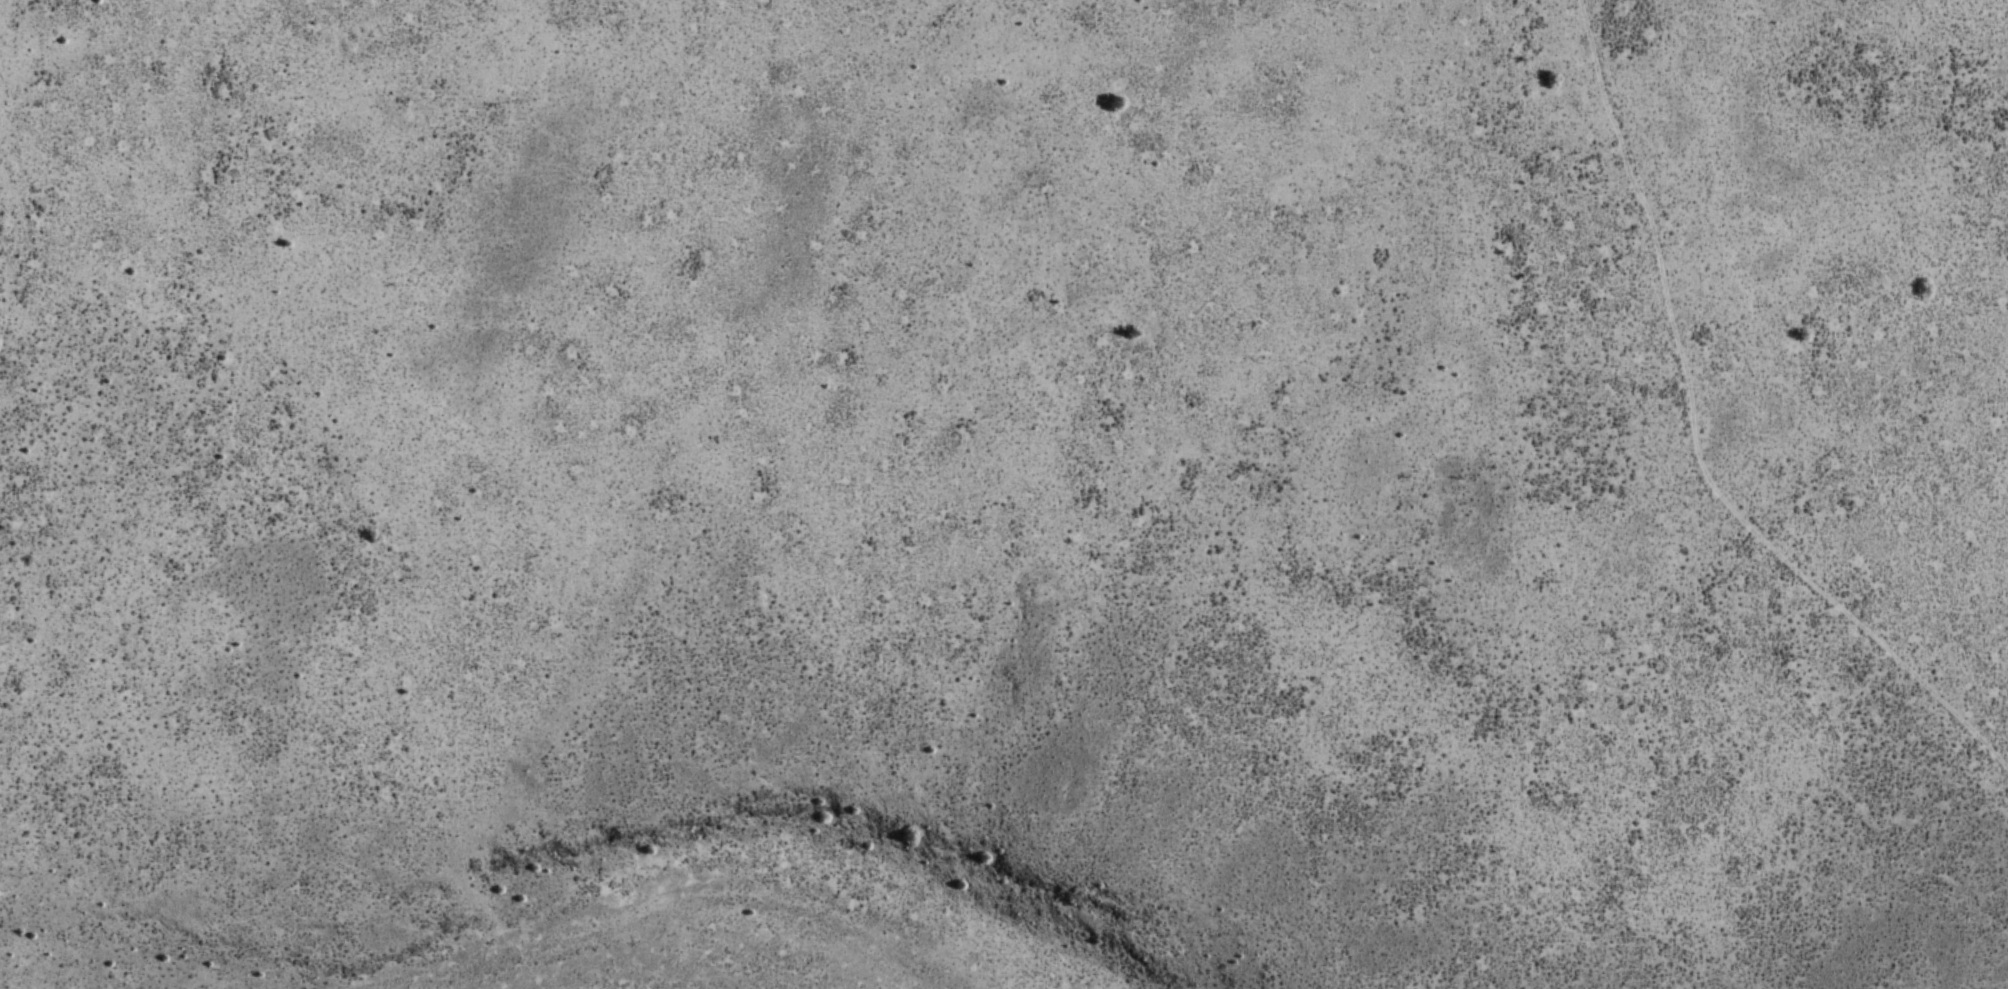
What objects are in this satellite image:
road: (1691, 438)

